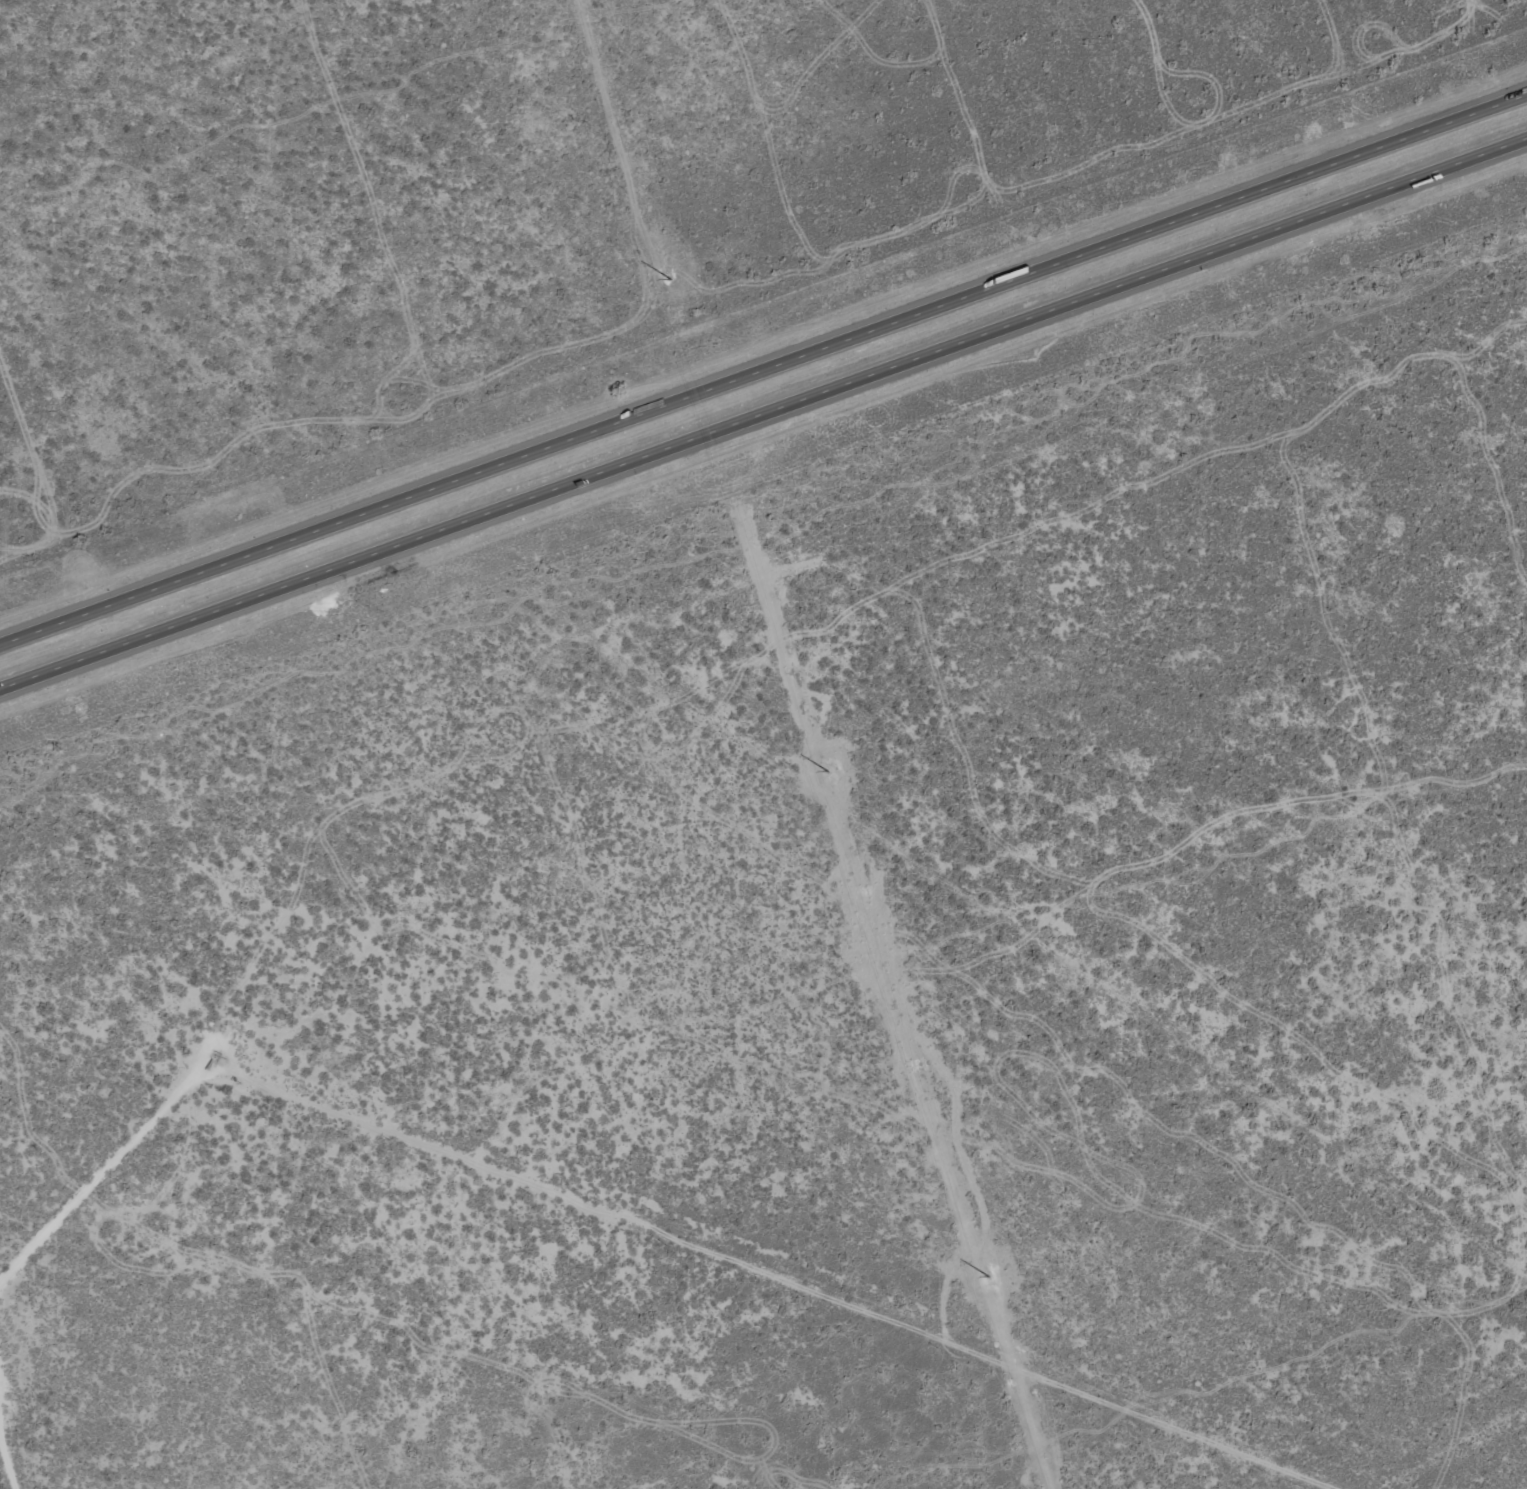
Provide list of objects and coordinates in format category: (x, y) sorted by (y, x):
road: (763, 369)
road: (763, 412)
road: (107, 1174)
road: (7, 1463)

